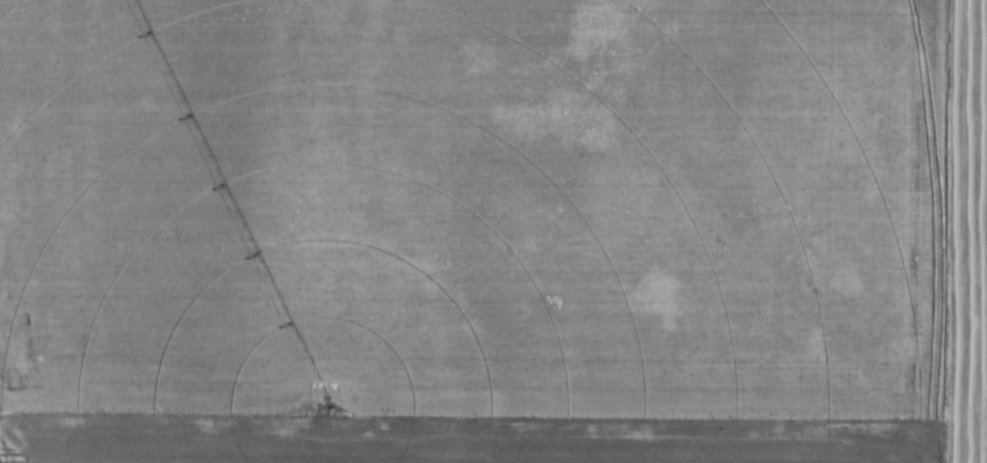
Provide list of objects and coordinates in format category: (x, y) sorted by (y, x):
crop: (468, 202)
crop: (966, 232)
crop: (500, 434)
crop: (2, 458)

